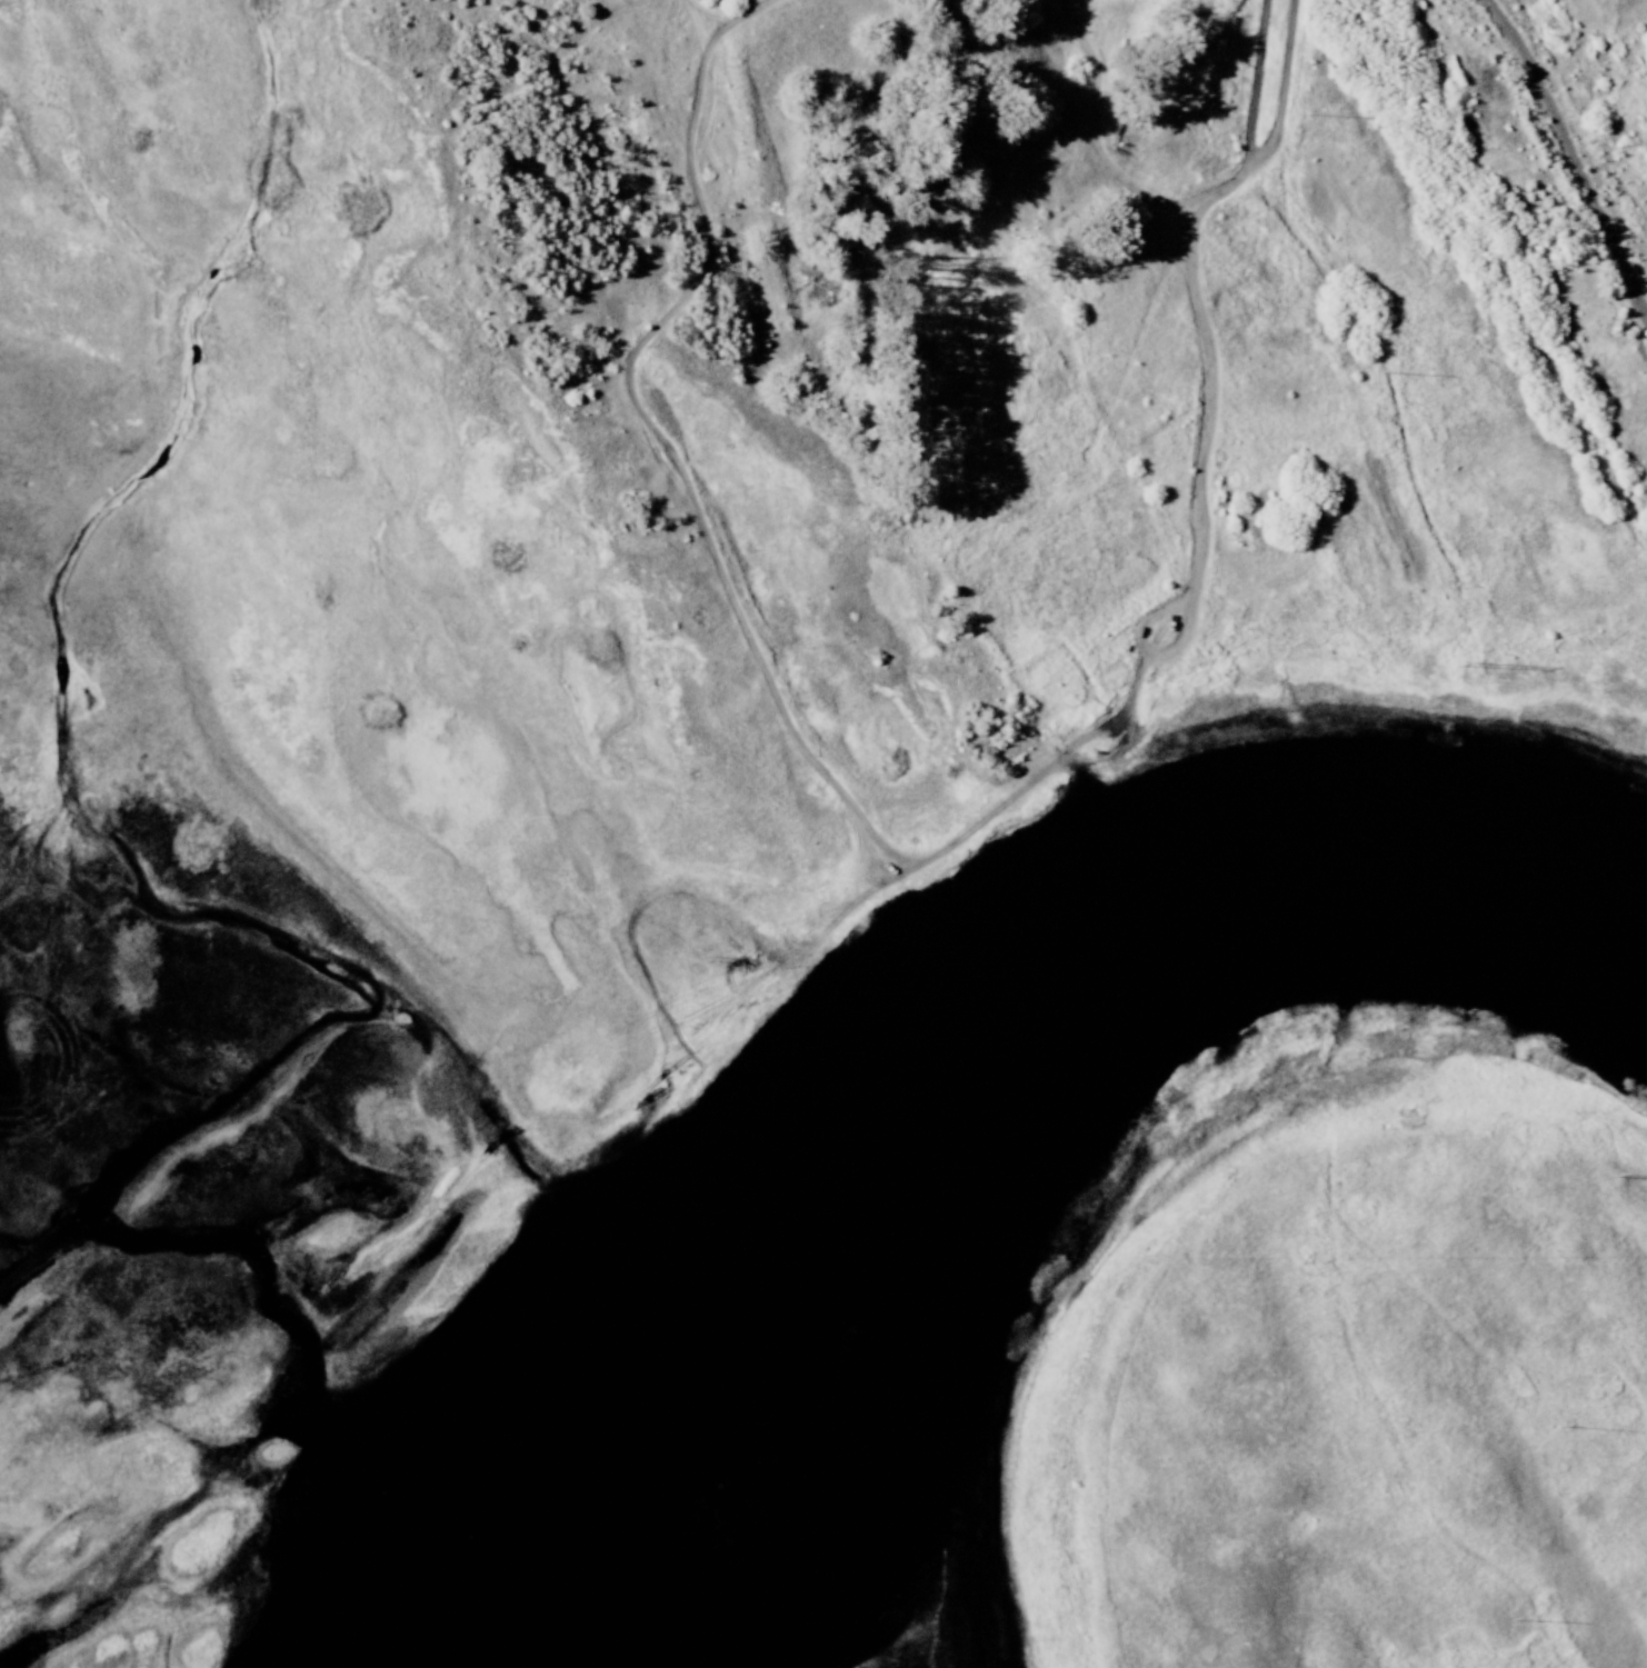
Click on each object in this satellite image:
road: (1096, 134)
road: (1259, 153)
road: (1570, 157)
road: (660, 435)
road: (1202, 449)
road: (761, 979)

